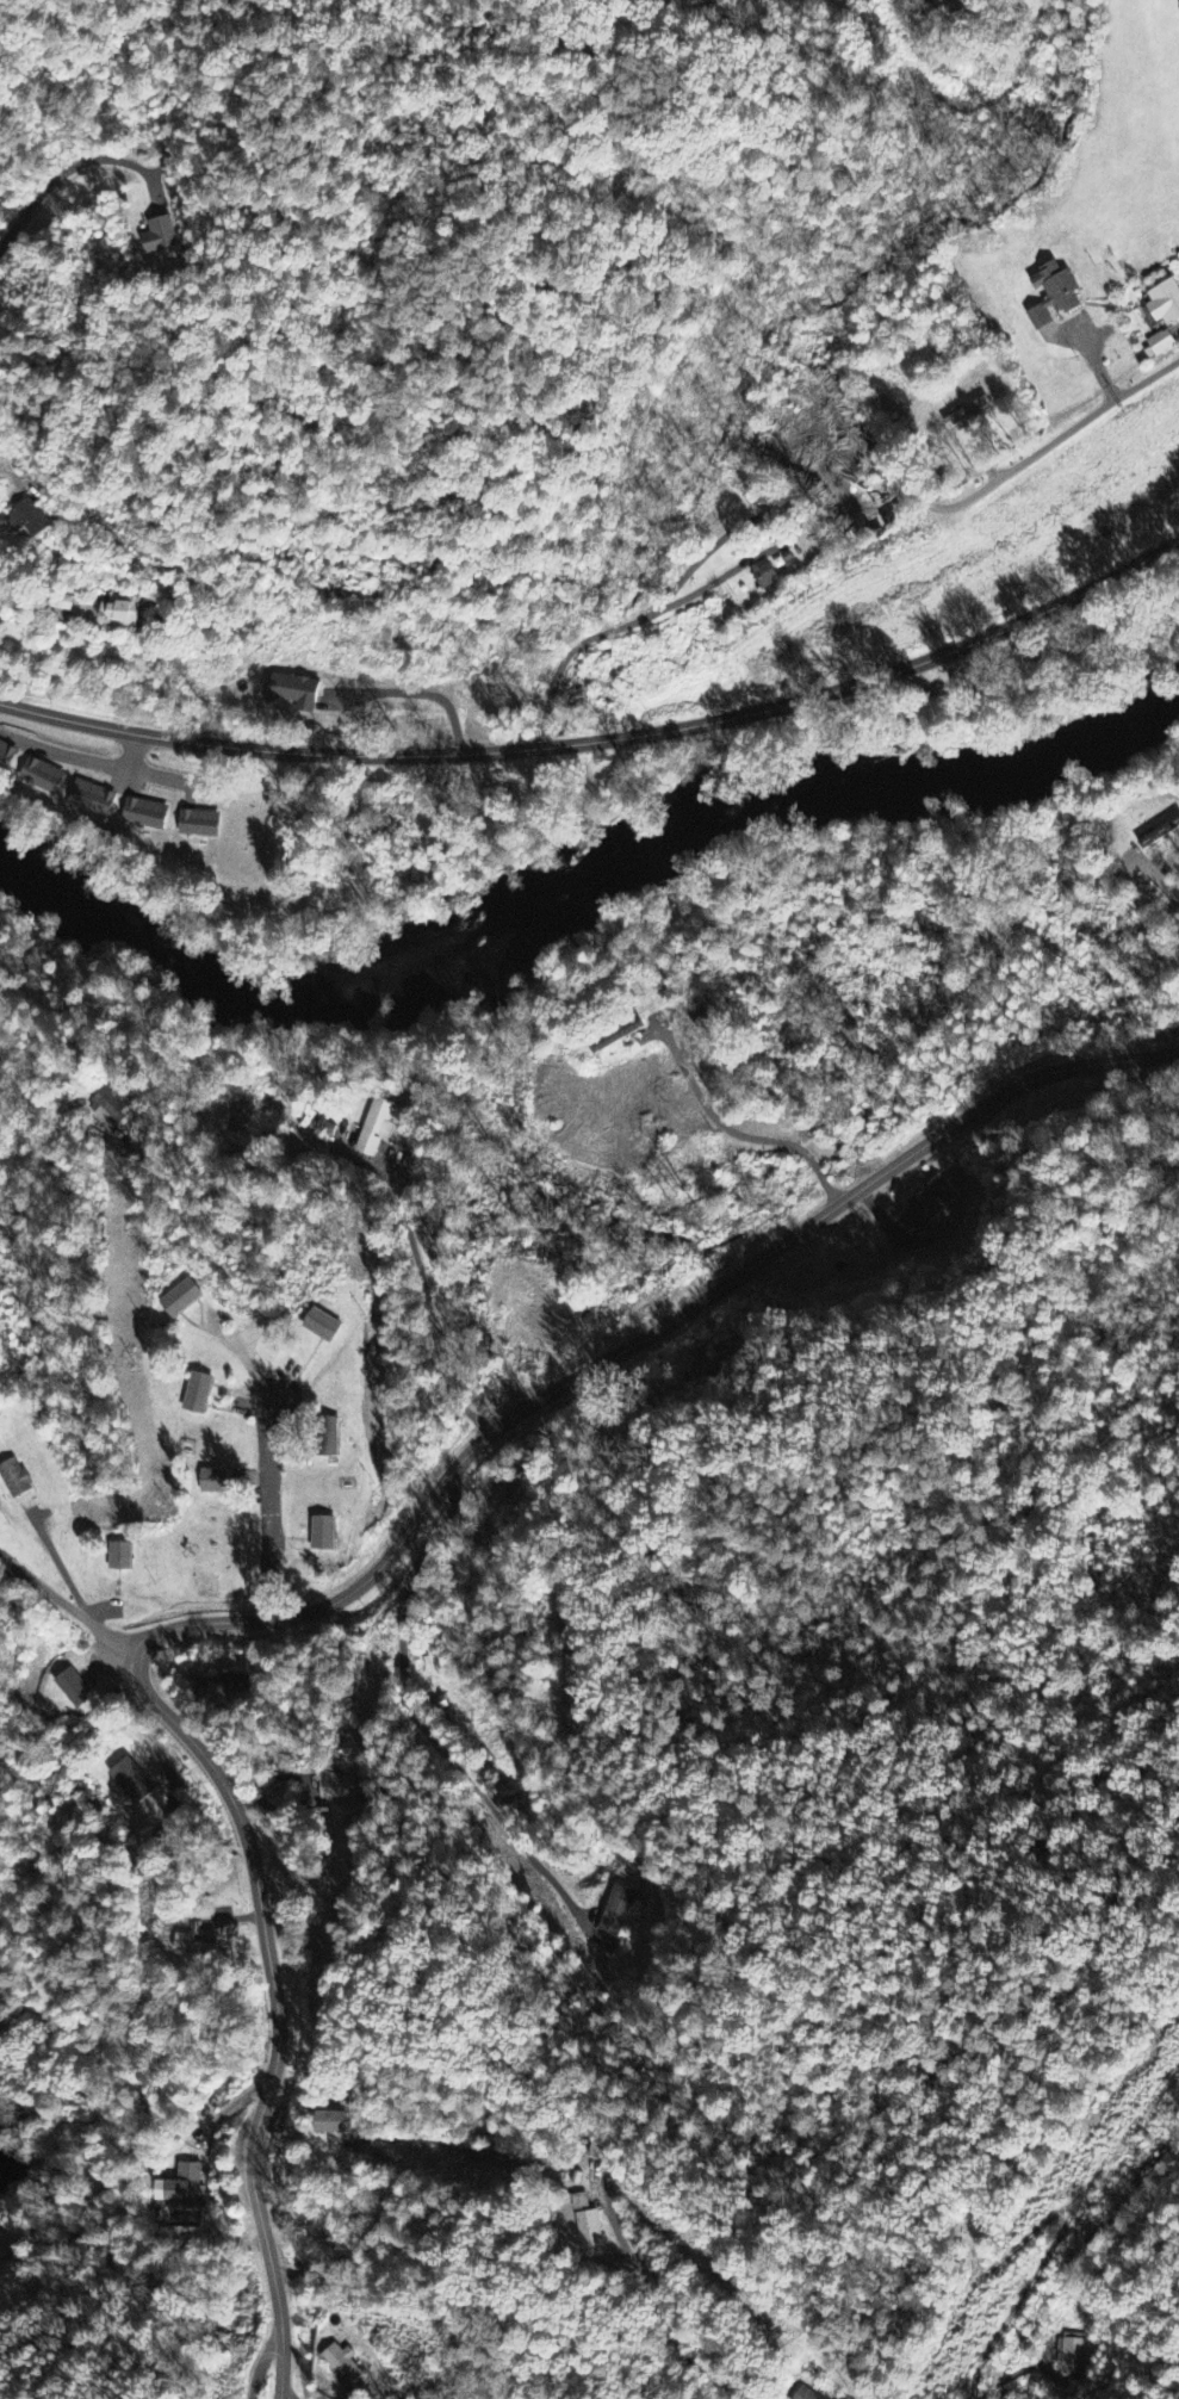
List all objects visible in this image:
road: (57, 173)
building: (159, 237)
building: (1055, 296)
building: (1166, 304)
building: (1160, 345)
building: (967, 414)
road: (1062, 432)
building: (27, 521)
building: (765, 577)
building: (60, 603)
building: (119, 614)
road: (4, 692)
building: (293, 694)
road: (606, 739)
building: (7, 757)
building: (43, 777)
river: (879, 791)
building: (93, 800)
building: (145, 816)
building: (199, 825)
building: (1160, 836)
river: (285, 1002)
building: (616, 1036)
building: (111, 1106)
building: (377, 1126)
building: (926, 1210)
building: (181, 1298)
building: (322, 1326)
road: (644, 1338)
building: (197, 1394)
building: (329, 1438)
building: (14, 1479)
building: (213, 1482)
road: (269, 1508)
building: (323, 1533)
building: (120, 1557)
road: (69, 1606)
building: (570, 1682)
building: (132, 1781)
building: (337, 1787)
building: (616, 1911)
building: (193, 1946)
road: (277, 2009)
building: (331, 2124)
building: (603, 2150)
building: (181, 2188)
building: (589, 2230)
building: (1071, 2355)
road: (266, 2362)
building: (345, 2369)
building: (806, 2394)

